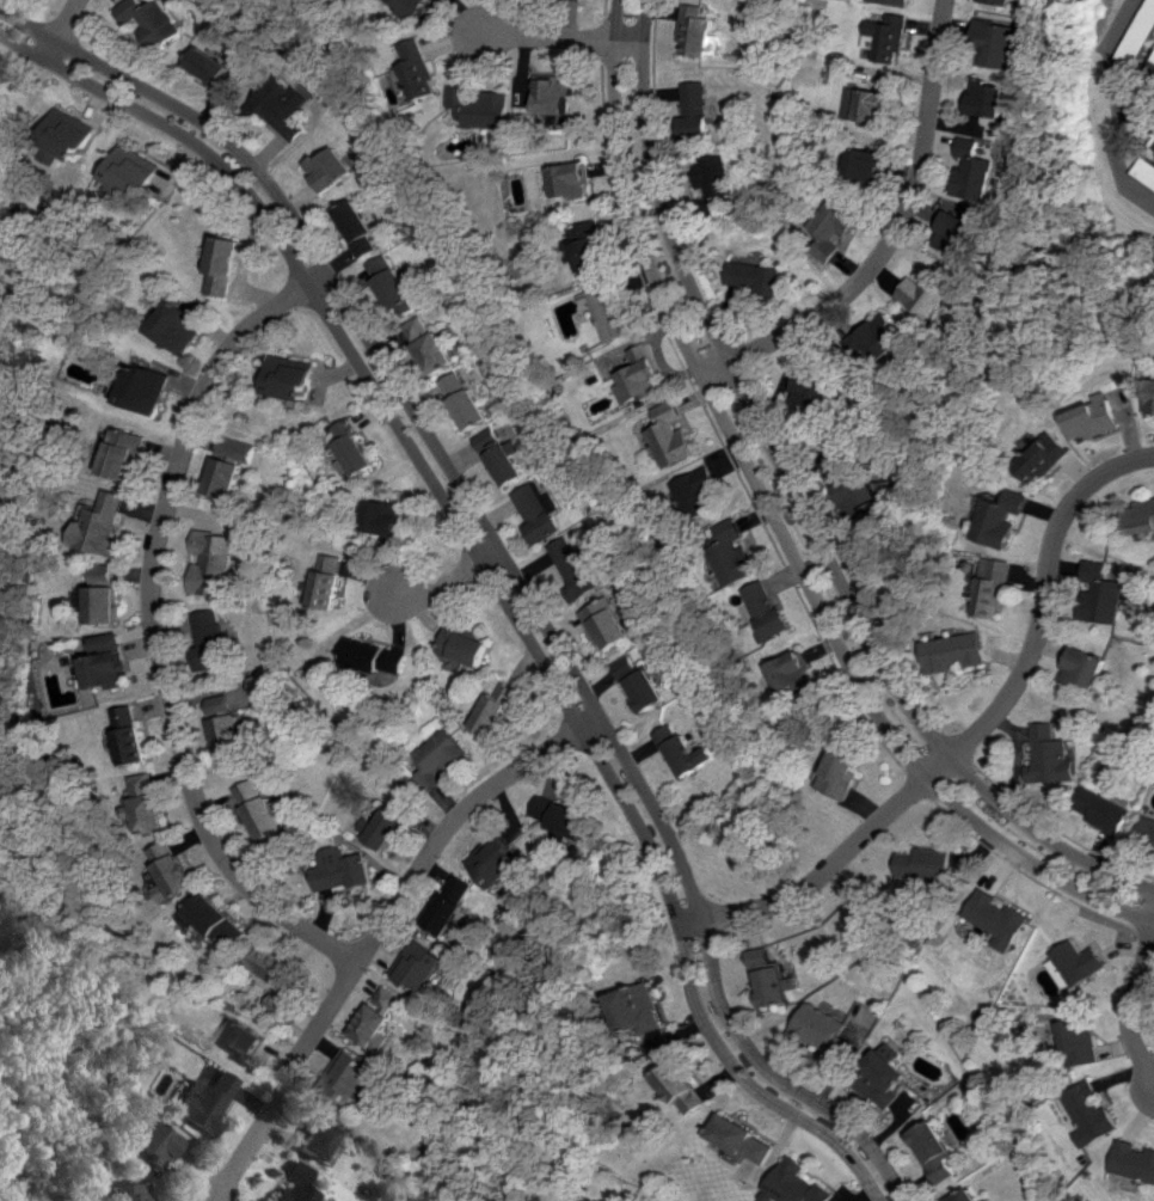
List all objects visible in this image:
building: (894, 1)
building: (1000, 1)
building: (416, 6)
building: (149, 20)
road: (61, 29)
building: (699, 30)
road: (564, 37)
building: (886, 37)
building: (999, 43)
building: (1144, 43)
building: (211, 68)
building: (421, 69)
building: (557, 94)
building: (989, 97)
building: (873, 102)
road: (1125, 103)
building: (485, 105)
building: (280, 106)
building: (698, 110)
road: (1140, 111)
building: (63, 136)
building: (865, 165)
building: (329, 167)
building: (1149, 168)
building: (131, 170)
building: (975, 170)
building: (572, 179)
building: (718, 182)
building: (357, 227)
building: (831, 227)
building: (959, 233)
road: (894, 234)
building: (590, 245)
building: (223, 265)
building: (756, 276)
building: (393, 286)
building: (929, 293)
building: (612, 311)
building: (179, 324)
building: (416, 326)
building: (879, 337)
building: (434, 353)
building: (642, 375)
building: (289, 376)
building: (146, 388)
building: (815, 391)
building: (1152, 396)
building: (464, 399)
building: (1097, 417)
building: (673, 434)
building: (354, 447)
building: (237, 449)
building: (125, 453)
building: (1045, 456)
building: (507, 461)
building: (225, 477)
building: (854, 489)
building: (698, 492)
road: (802, 505)
building: (538, 510)
building: (380, 516)
building: (1142, 516)
building: (1003, 517)
building: (104, 523)
road: (780, 527)
building: (733, 552)
road: (508, 560)
building: (213, 562)
building: (578, 568)
road: (492, 575)
building: (326, 580)
road: (446, 584)
building: (994, 587)
building: (1099, 593)
building: (106, 594)
building: (768, 609)
road: (153, 621)
building: (607, 623)
building: (211, 639)
building: (464, 645)
building: (956, 651)
building: (374, 656)
building: (110, 662)
building: (1084, 666)
building: (793, 673)
building: (642, 684)
building: (263, 685)
building: (495, 709)
building: (228, 724)
road: (975, 734)
building: (133, 735)
building: (688, 752)
building: (1049, 755)
building: (438, 758)
building: (843, 772)
building: (146, 784)
building: (265, 809)
building: (1103, 810)
building: (153, 813)
building: (565, 815)
building: (381, 827)
building: (1147, 833)
building: (498, 860)
building: (925, 863)
building: (339, 869)
building: (173, 872)
building: (452, 903)
building: (996, 918)
building: (216, 920)
road: (377, 931)
building: (1079, 962)
building: (274, 964)
building: (425, 966)
building: (772, 978)
building: (391, 997)
road: (1132, 1007)
building: (644, 1009)
building: (380, 1027)
building: (827, 1031)
building: (1079, 1041)
building: (241, 1042)
building: (883, 1074)
building: (352, 1078)
building: (688, 1087)
building: (200, 1101)
building: (1088, 1113)
building: (313, 1129)
building: (745, 1139)
building: (149, 1140)
building: (934, 1151)
building: (1131, 1160)
building: (289, 1184)
building: (797, 1184)
building: (123, 1191)
building: (965, 1195)

